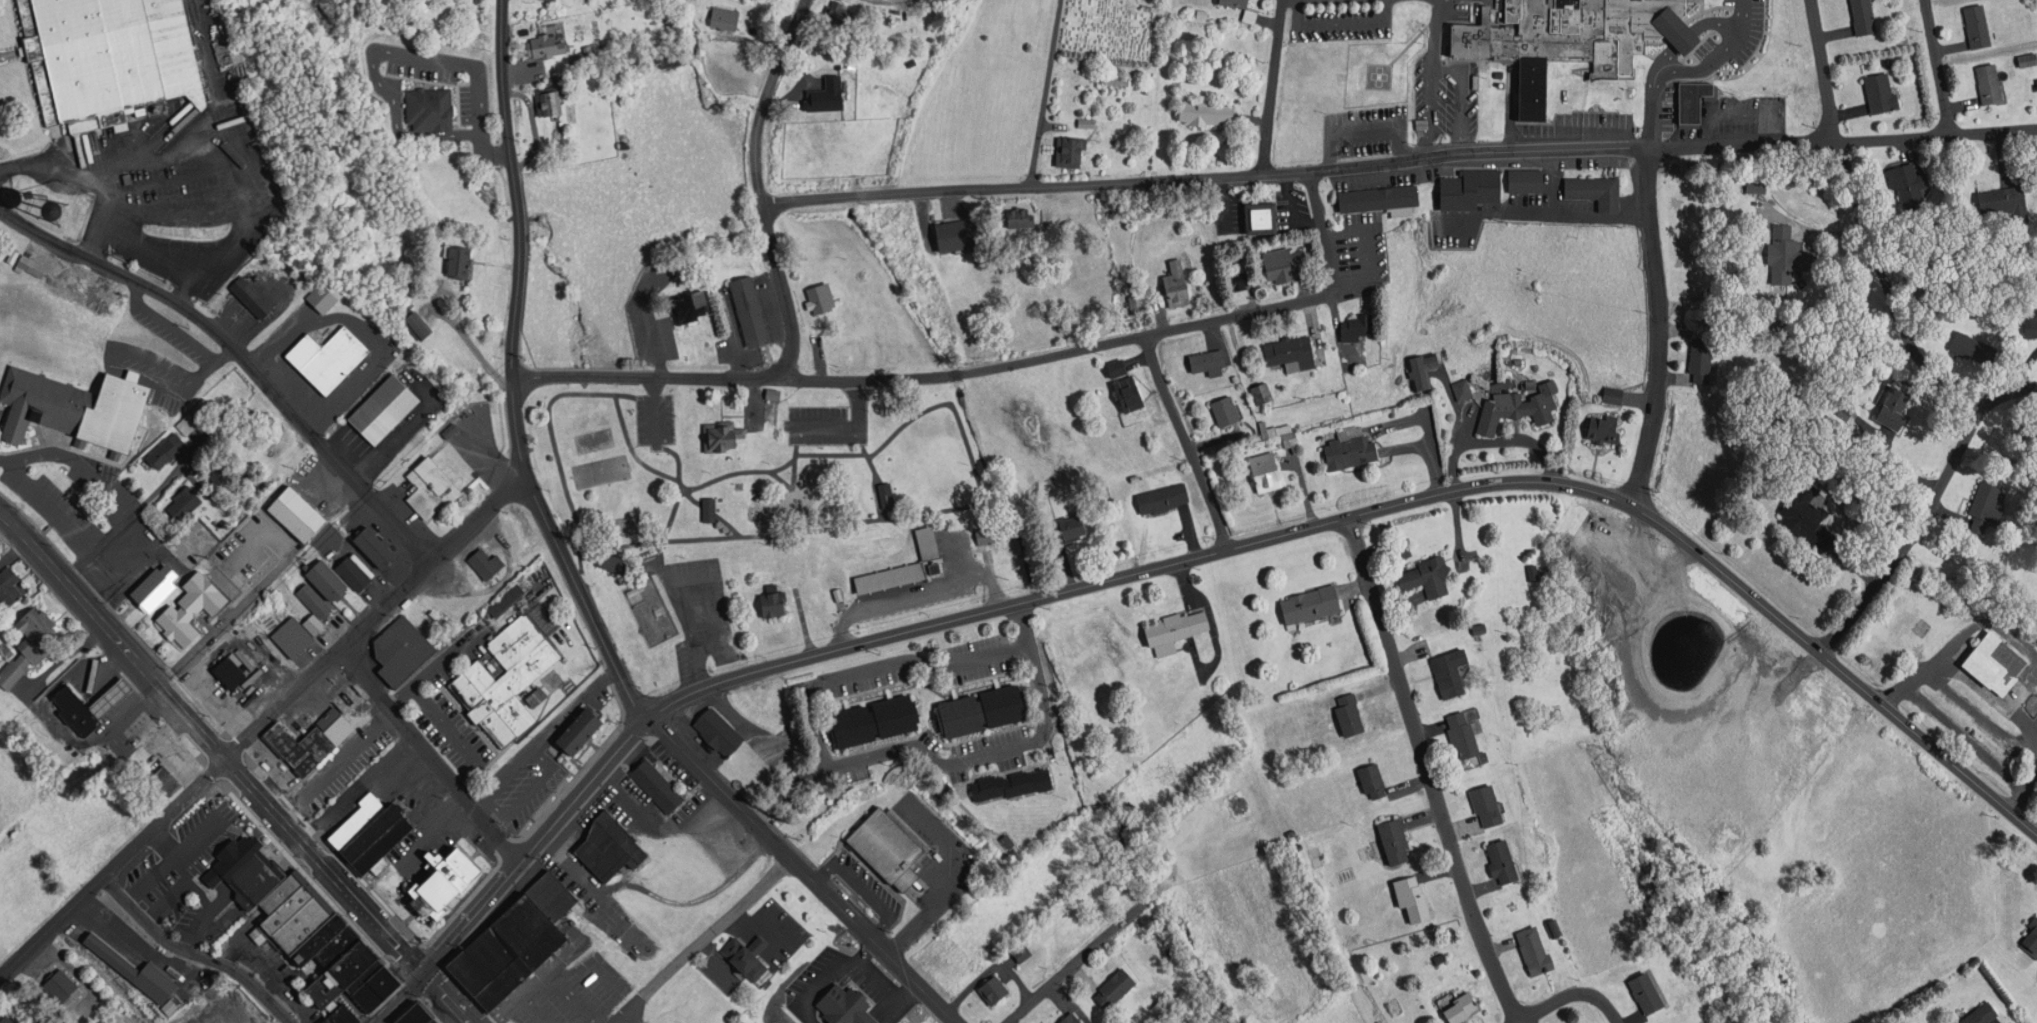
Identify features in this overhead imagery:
building: (1236, 2)
building: (840, 13)
building: (1202, 13)
road: (1738, 16)
building: (1865, 16)
building: (723, 17)
parking lot: (1340, 18)
road: (1714, 22)
building: (1980, 25)
building: (1685, 35)
road: (1683, 37)
parking lot: (1736, 37)
building: (1567, 38)
building: (546, 46)
building: (2028, 58)
building: (105, 59)
building: (671, 59)
road: (1664, 59)
road: (1933, 64)
road: (1822, 66)
road: (1703, 67)
helipad: (1379, 77)
road: (1431, 77)
building: (1116, 79)
building: (1992, 83)
road: (1270, 86)
building: (825, 90)
building: (1882, 91)
road: (1043, 93)
road: (1461, 95)
parking lot: (1443, 96)
building: (1695, 101)
building: (550, 103)
building: (430, 109)
road: (1650, 109)
building: (1207, 112)
road: (1755, 112)
parking lot: (1716, 116)
road: (1363, 130)
parking lot: (1365, 132)
building: (1067, 150)
road: (1399, 159)
building: (1528, 180)
building: (1909, 182)
building: (1756, 186)
building: (1472, 188)
road: (760, 189)
building: (1599, 190)
building: (1380, 198)
building: (2009, 202)
water tower: (59, 213)
building: (1022, 218)
building: (1261, 219)
building: (955, 235)
building: (1788, 252)
building: (457, 260)
building: (1278, 267)
building: (1237, 281)
building: (1172, 285)
building: (252, 297)
building: (820, 297)
building: (323, 300)
building: (686, 303)
building: (749, 312)
road: (1874, 322)
building: (415, 324)
road: (1656, 324)
building: (1358, 326)
building: (2032, 326)
building: (1974, 348)
building: (1291, 353)
building: (181, 354)
building: (1705, 355)
road: (237, 356)
building: (1207, 359)
building: (320, 360)
road: (988, 369)
building: (1425, 369)
road: (513, 373)
building: (1531, 383)
building: (1123, 386)
building: (1463, 388)
building: (1262, 391)
building: (773, 393)
building: (1613, 393)
building: (1517, 406)
building: (1893, 406)
building: (75, 407)
building: (1227, 411)
building: (377, 415)
parking lot: (826, 425)
building: (1605, 428)
building: (450, 429)
building: (721, 436)
road: (1185, 442)
building: (165, 450)
building: (1353, 450)
road: (642, 461)
road: (873, 462)
road: (795, 466)
park: (601, 469)
building: (1266, 471)
road: (704, 483)
building: (431, 488)
park: (732, 494)
building: (886, 495)
building: (1163, 497)
building: (184, 503)
building: (1987, 504)
building: (709, 509)
building: (1800, 509)
building: (303, 513)
building: (1070, 527)
road: (1911, 529)
road: (815, 531)
building: (985, 534)
building: (805, 544)
building: (373, 546)
road: (1223, 550)
building: (611, 561)
building: (486, 562)
building: (944, 570)
building: (353, 572)
building: (796, 576)
building: (1426, 578)
building: (326, 579)
building: (8, 585)
building: (153, 587)
building: (863, 587)
building: (505, 598)
building: (311, 599)
building: (773, 601)
building: (1311, 603)
building: (193, 606)
parking lot: (697, 610)
park: (651, 611)
road: (375, 615)
building: (313, 624)
building: (1177, 625)
building: (292, 635)
building: (32, 640)
building: (401, 649)
building: (2000, 659)
building: (228, 671)
building: (1451, 671)
building: (506, 680)
building: (107, 696)
building: (537, 698)
building: (73, 708)
building: (983, 711)
building: (1350, 716)
building: (874, 721)
building: (578, 731)
building: (719, 731)
building: (1464, 732)
road: (211, 743)
building: (307, 744)
road: (428, 754)
building: (267, 760)
road: (1426, 772)
building: (165, 778)
building: (1373, 779)
building: (657, 783)
building: (1011, 784)
building: (1488, 803)
building: (354, 820)
building: (367, 832)
building: (1731, 835)
building: (1397, 841)
building: (379, 843)
building: (887, 846)
building: (611, 847)
building: (1504, 860)
road: (112, 867)
road: (803, 870)
building: (248, 875)
building: (444, 880)
building: (279, 890)
building: (552, 896)
building: (1413, 898)
building: (284, 906)
building: (299, 922)
building: (2030, 932)
building: (313, 939)
building: (333, 946)
building: (1534, 948)
road: (194, 951)
building: (508, 951)
building: (747, 955)
road: (1078, 960)
building: (337, 972)
traffic signals: (424, 974)
building: (61, 987)
building: (372, 988)
building: (1115, 988)
building: (993, 989)
building: (1647, 991)
road: (399, 998)
road: (446, 998)
road: (1552, 1002)
building: (842, 1004)
road: (1605, 1007)
building: (1161, 1009)
building: (1462, 1009)
building: (410, 1014)
building: (338, 1015)
building: (1986, 1017)
building: (7, 1020)
building: (429, 1020)
building: (1072, 1020)
building: (94, 1022)

